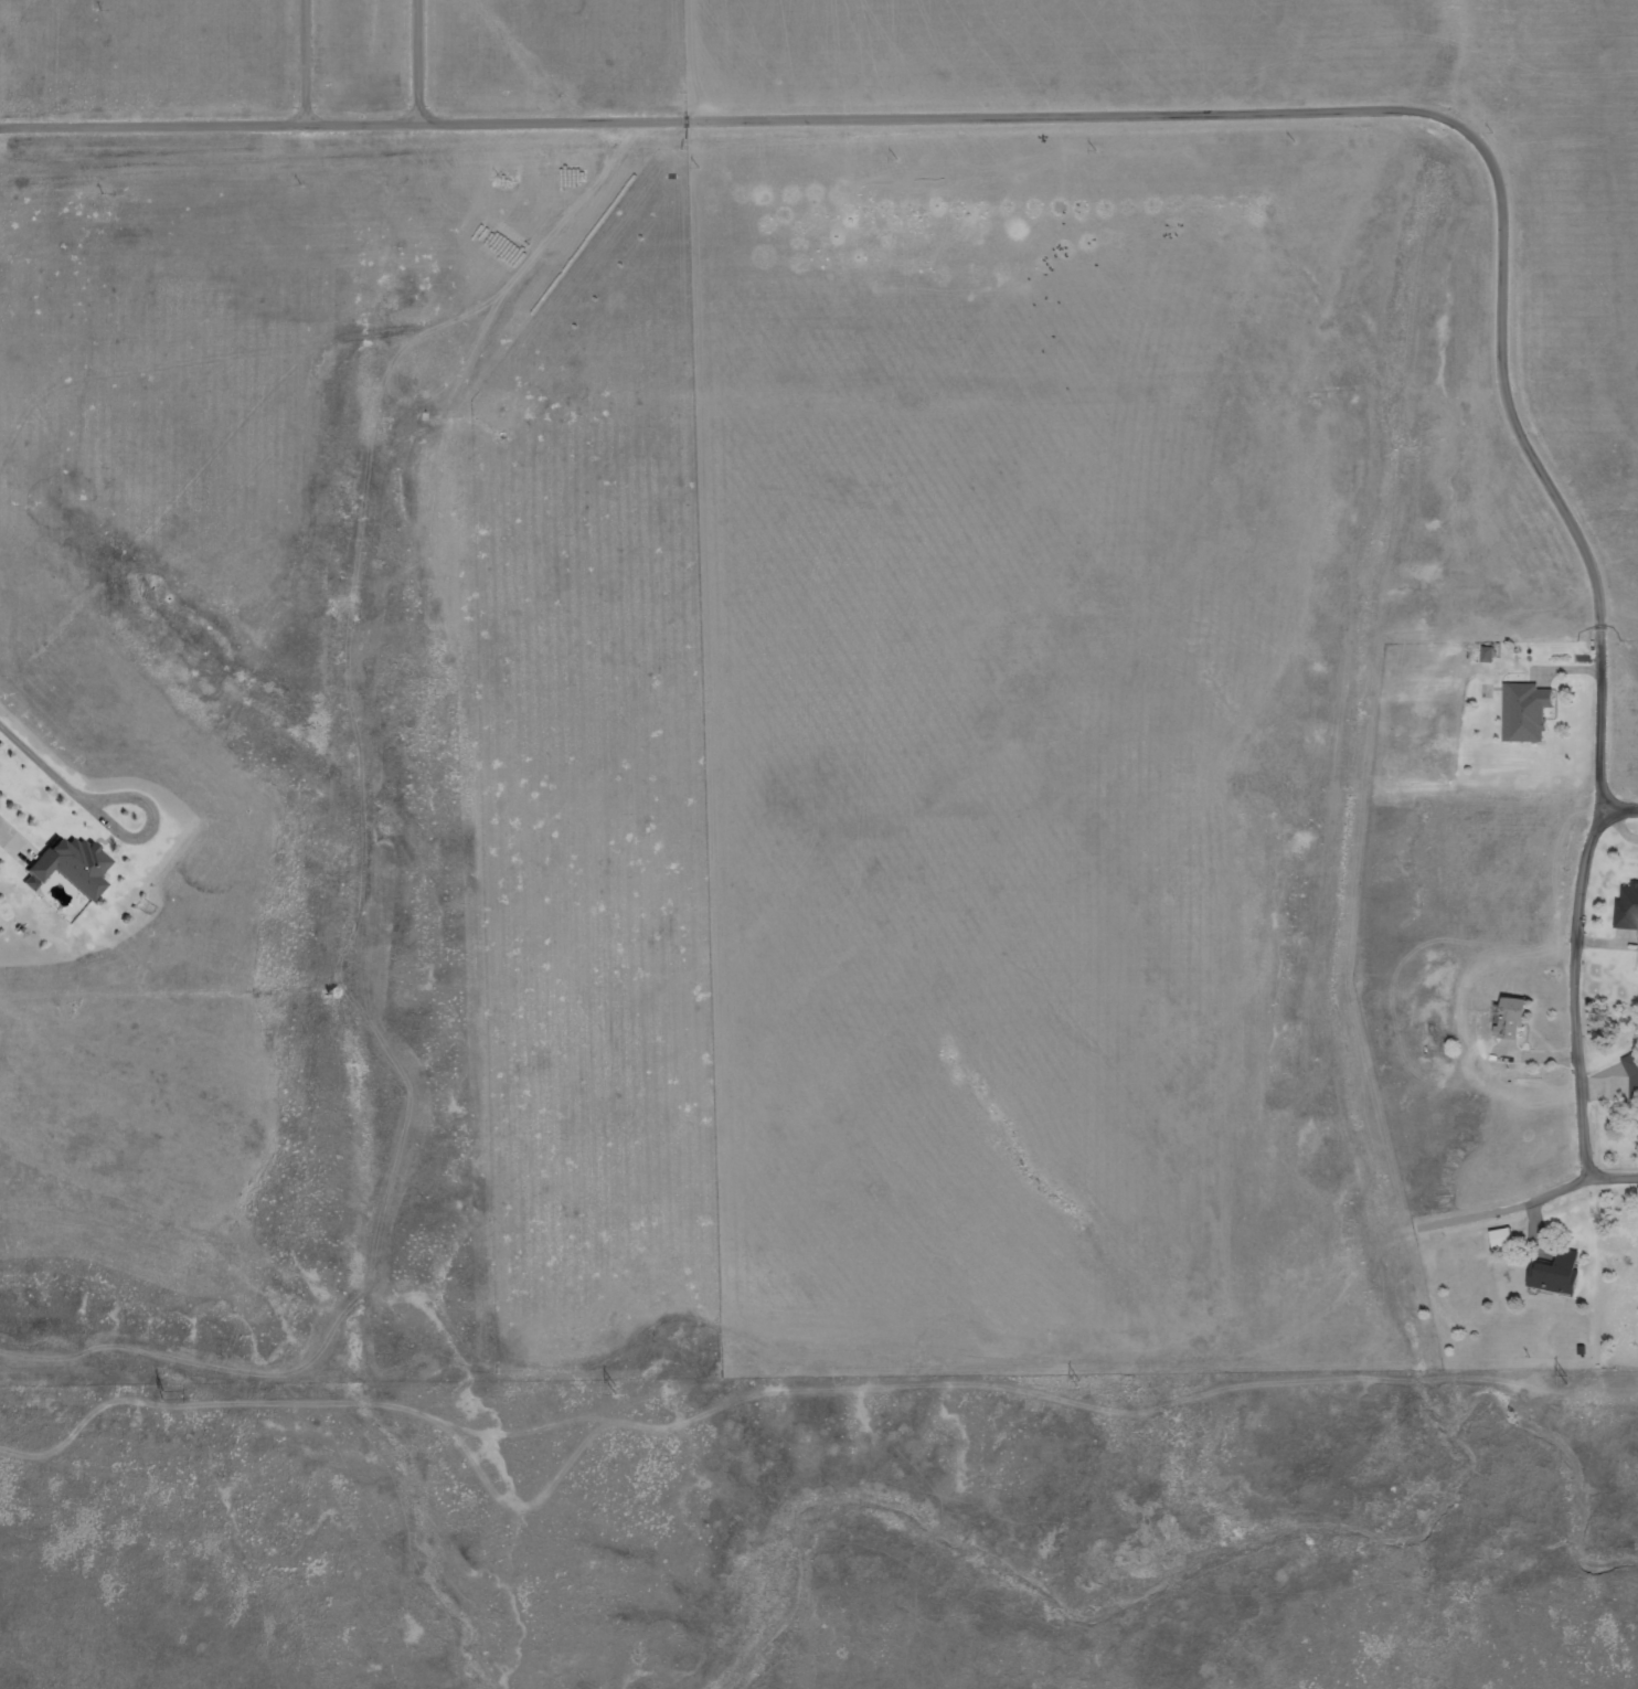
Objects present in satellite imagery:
building: (1522, 712)
road: (1621, 807)
building: (76, 863)
road: (1584, 909)
building: (1626, 910)
building: (1637, 960)
building: (1508, 1017)
building: (1631, 1081)
road: (1540, 1197)
building: (1499, 1239)
building: (1554, 1274)

